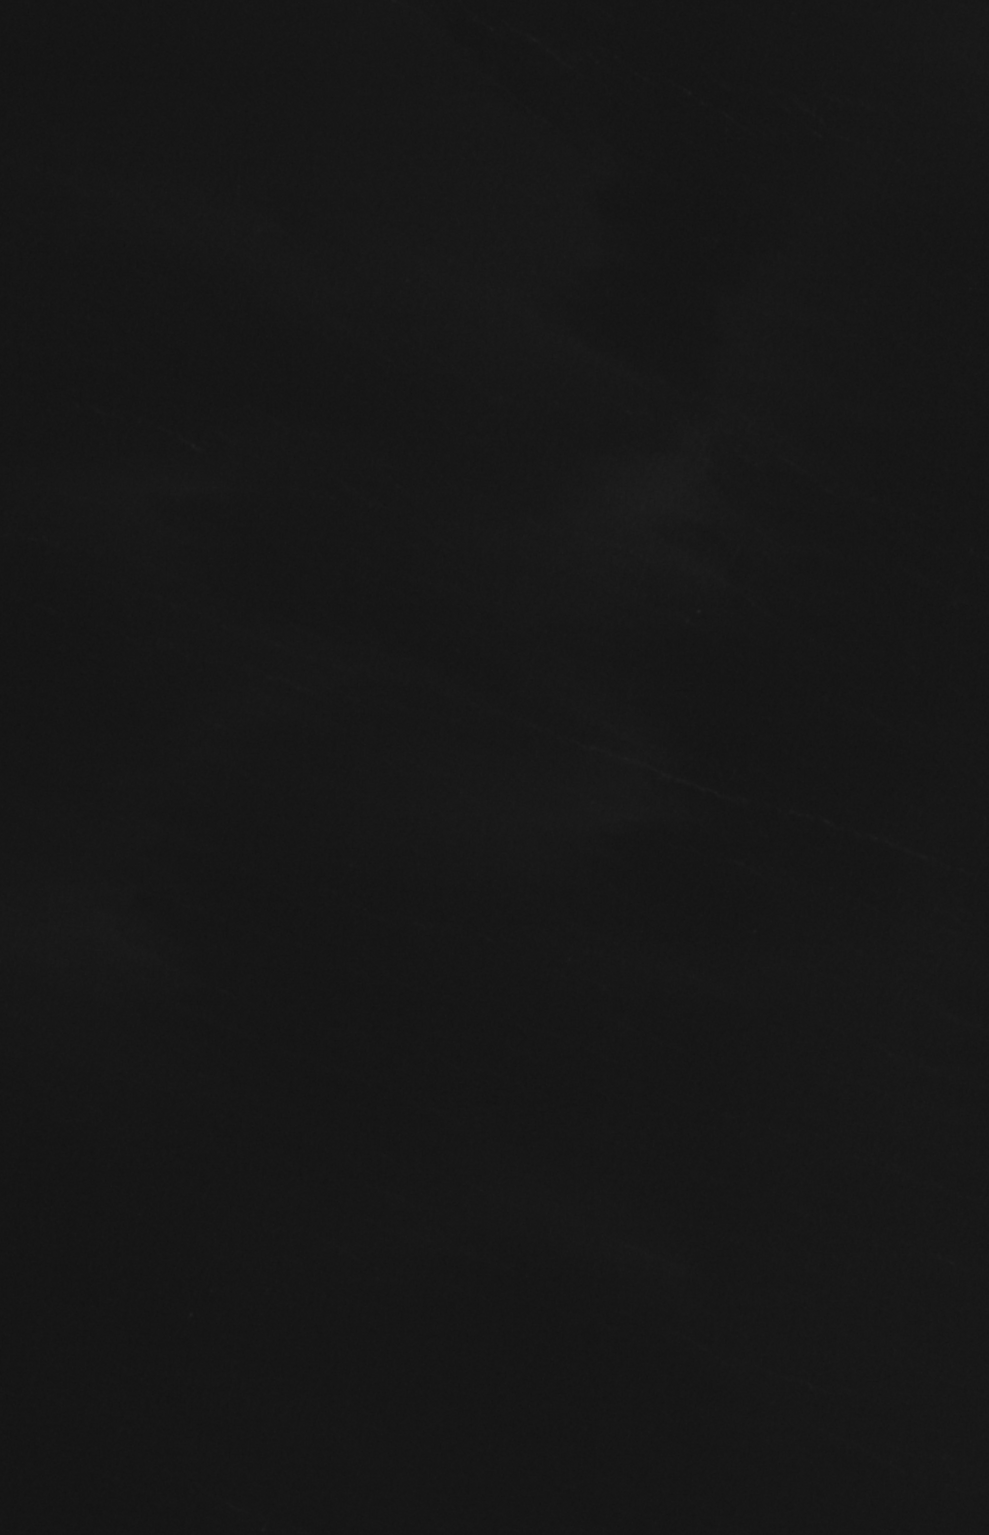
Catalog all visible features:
river: (494, 719)

